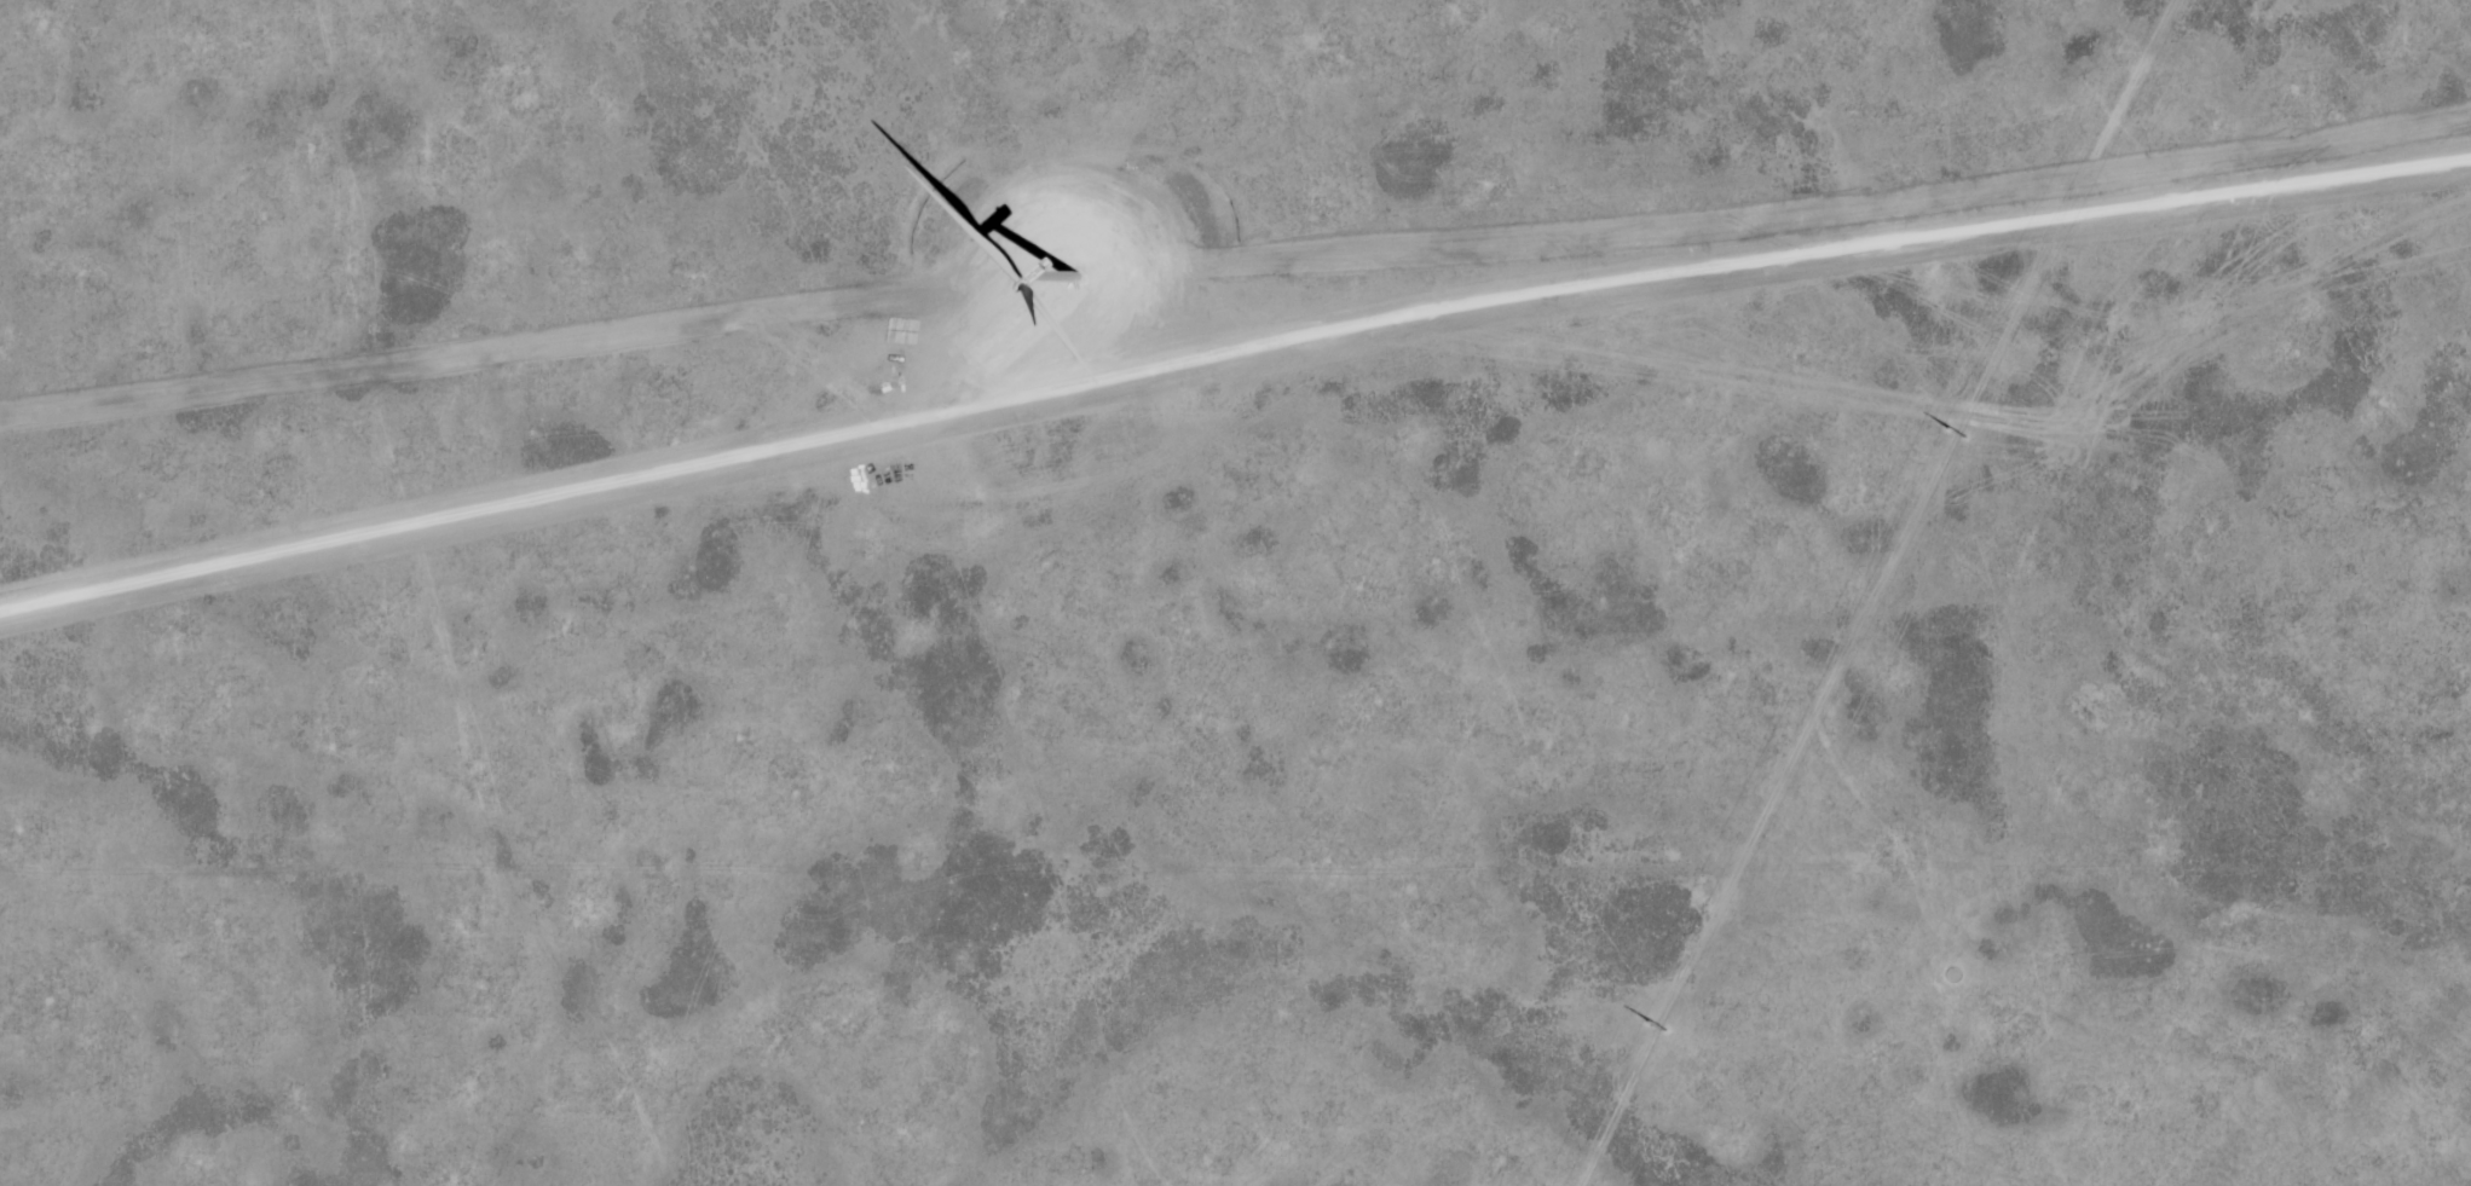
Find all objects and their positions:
wind turbine: (1053, 266)
power tower: (1957, 430)
power tower: (1658, 1024)

